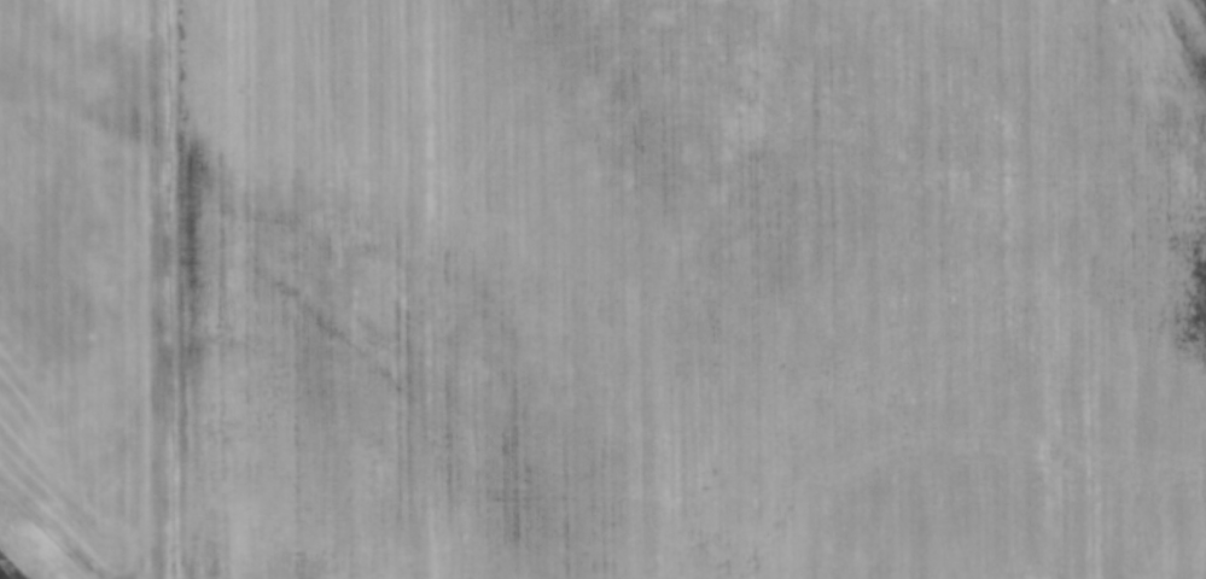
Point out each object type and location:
road: (170, 288)

